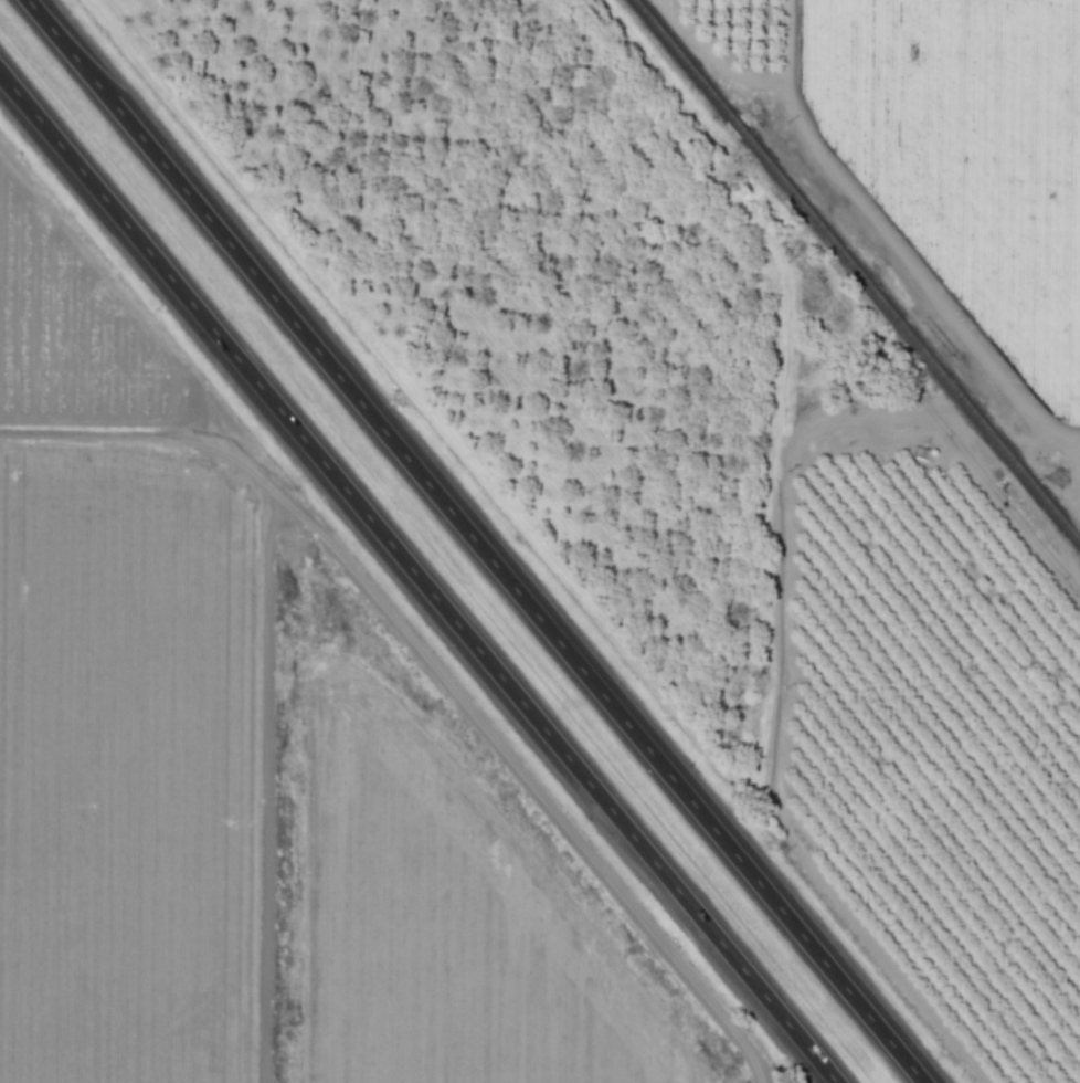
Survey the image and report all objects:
railway: (857, 272)
road: (474, 541)
road: (417, 578)

